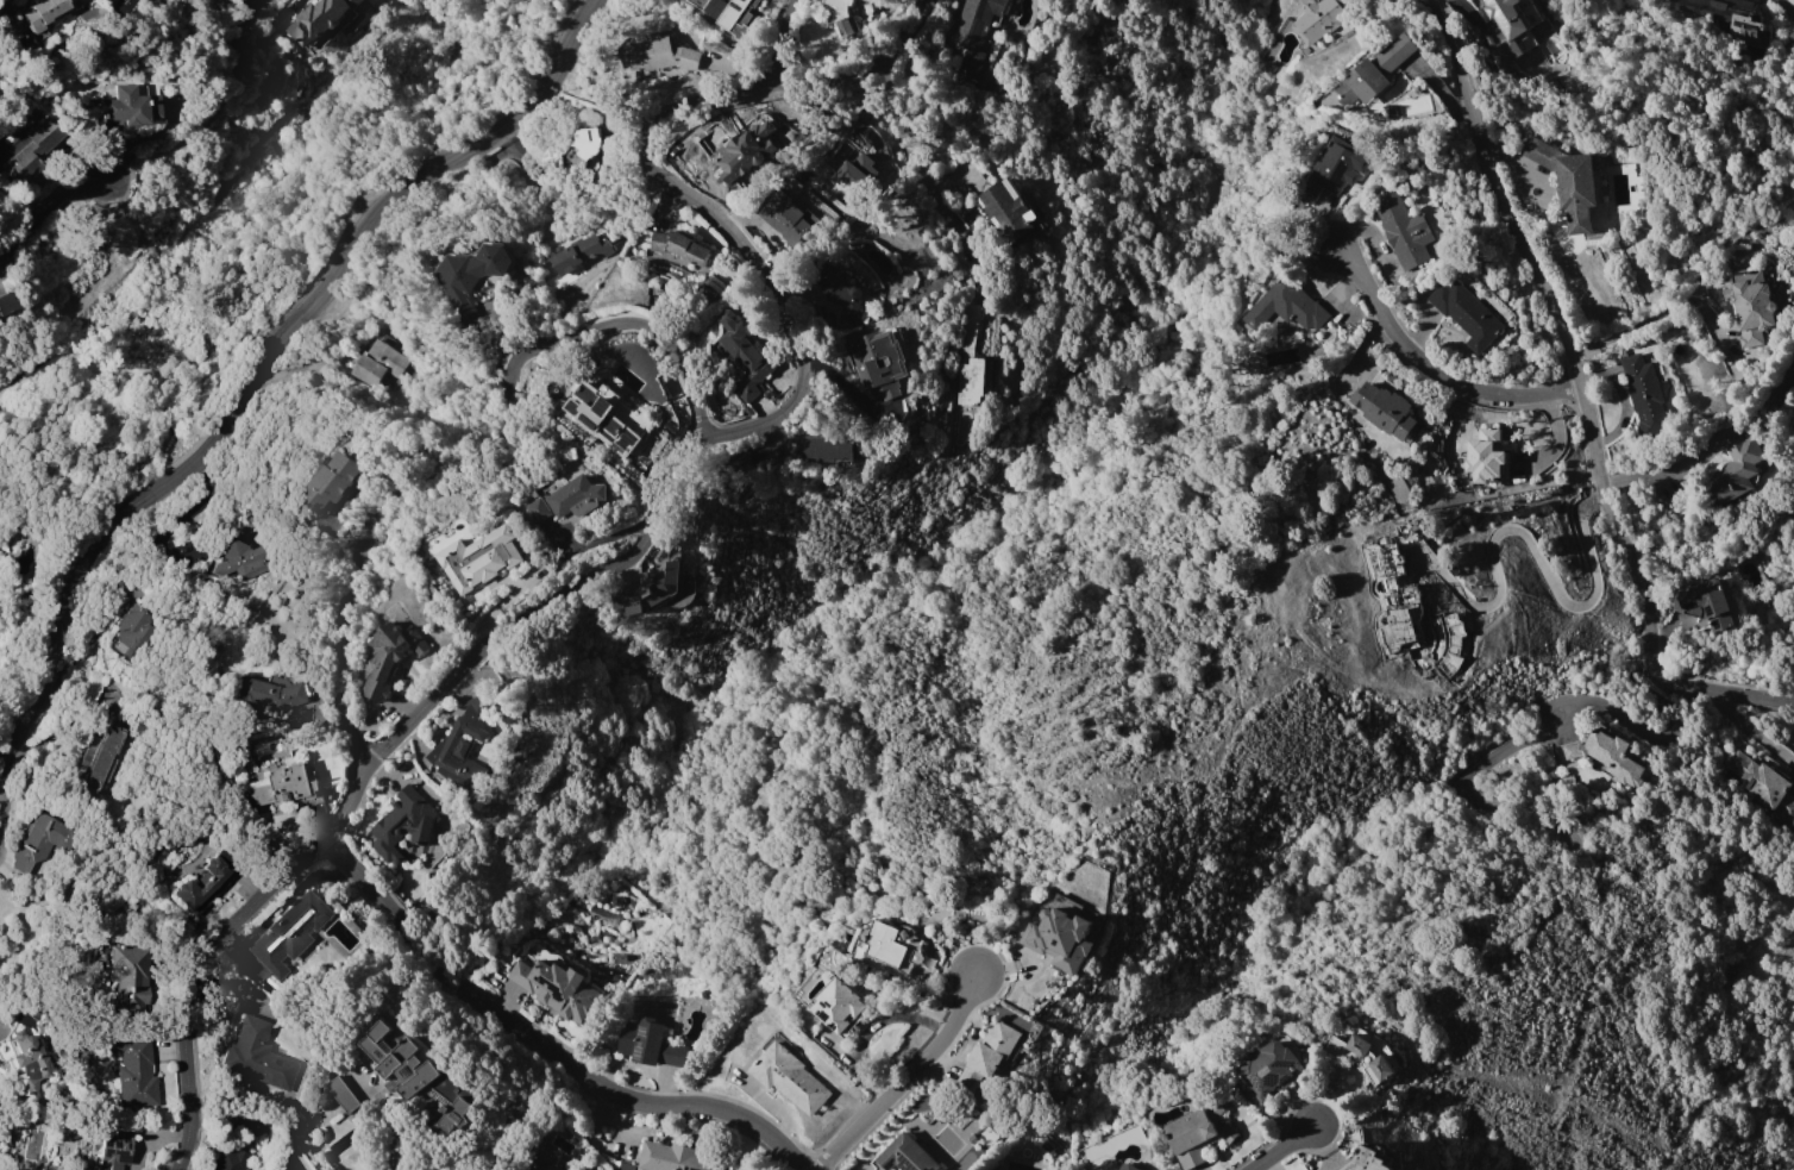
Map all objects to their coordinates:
building: (1702, 8)
building: (43, 13)
building: (728, 14)
building: (841, 15)
building: (319, 19)
building: (1319, 19)
building: (1507, 25)
building: (1744, 31)
building: (973, 32)
road: (904, 33)
building: (1522, 42)
road: (782, 46)
building: (659, 56)
building: (1374, 73)
building: (132, 106)
road: (214, 110)
building: (585, 143)
building: (33, 146)
building: (747, 149)
building: (710, 158)
building: (1338, 165)
road: (914, 167)
building: (1567, 182)
road: (48, 206)
building: (1011, 215)
building: (783, 218)
building: (1403, 232)
building: (679, 248)
building: (585, 251)
building: (472, 279)
building: (839, 294)
building: (6, 304)
building: (1287, 307)
building: (1749, 307)
building: (1466, 314)
road: (1652, 315)
building: (0, 323)
building: (742, 357)
road: (265, 358)
building: (968, 358)
building: (880, 363)
building: (377, 364)
road: (1438, 374)
building: (1643, 395)
road: (1582, 396)
road: (1620, 398)
building: (1384, 411)
building: (591, 414)
road: (1712, 444)
building: (823, 449)
building: (1485, 456)
road: (479, 462)
building: (1733, 471)
building: (331, 482)
building: (575, 498)
building: (537, 511)
road: (633, 552)
building: (241, 559)
building: (478, 559)
road: (1541, 570)
building: (652, 592)
building: (1702, 605)
building: (383, 662)
building: (270, 693)
road: (1749, 733)
building: (463, 744)
building: (1604, 755)
building: (103, 757)
building: (1761, 783)
building: (282, 786)
building: (404, 828)
building: (40, 840)
building: (205, 883)
building: (289, 934)
building: (1059, 939)
building: (893, 946)
building: (131, 977)
building: (556, 984)
building: (839, 1007)
building: (650, 1044)
road: (537, 1050)
building: (1366, 1055)
building: (261, 1056)
building: (987, 1056)
building: (26, 1062)
building: (1269, 1069)
building: (136, 1070)
building: (418, 1075)
road: (905, 1077)
building: (789, 1080)
building: (343, 1094)
building: (1198, 1134)
road: (391, 1140)
road: (1280, 1147)
building: (114, 1151)
building: (905, 1156)
building: (231, 1158)
building: (673, 1158)
building: (1366, 1160)
building: (1128, 1166)
building: (552, 1168)
building: (565, 1169)

